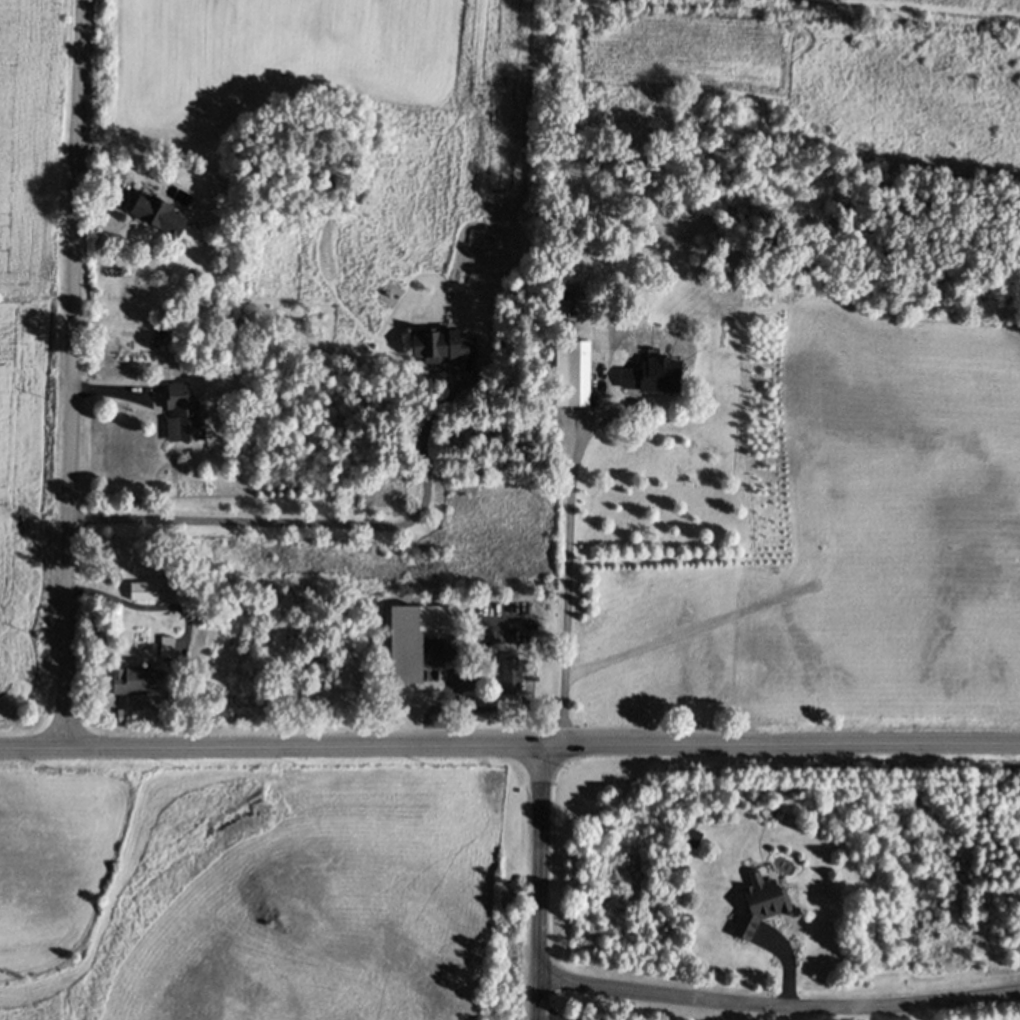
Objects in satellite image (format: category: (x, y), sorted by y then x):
building: (157, 212)
building: (732, 259)
building: (442, 343)
building: (572, 371)
road: (74, 373)
building: (650, 378)
building: (183, 414)
road: (311, 524)
road: (569, 560)
building: (144, 589)
road: (144, 606)
building: (429, 620)
building: (168, 645)
building: (529, 669)
building: (510, 673)
building: (135, 679)
road: (509, 746)
building: (689, 839)
road: (539, 883)
building: (759, 903)
road: (777, 1006)
road: (549, 1011)

